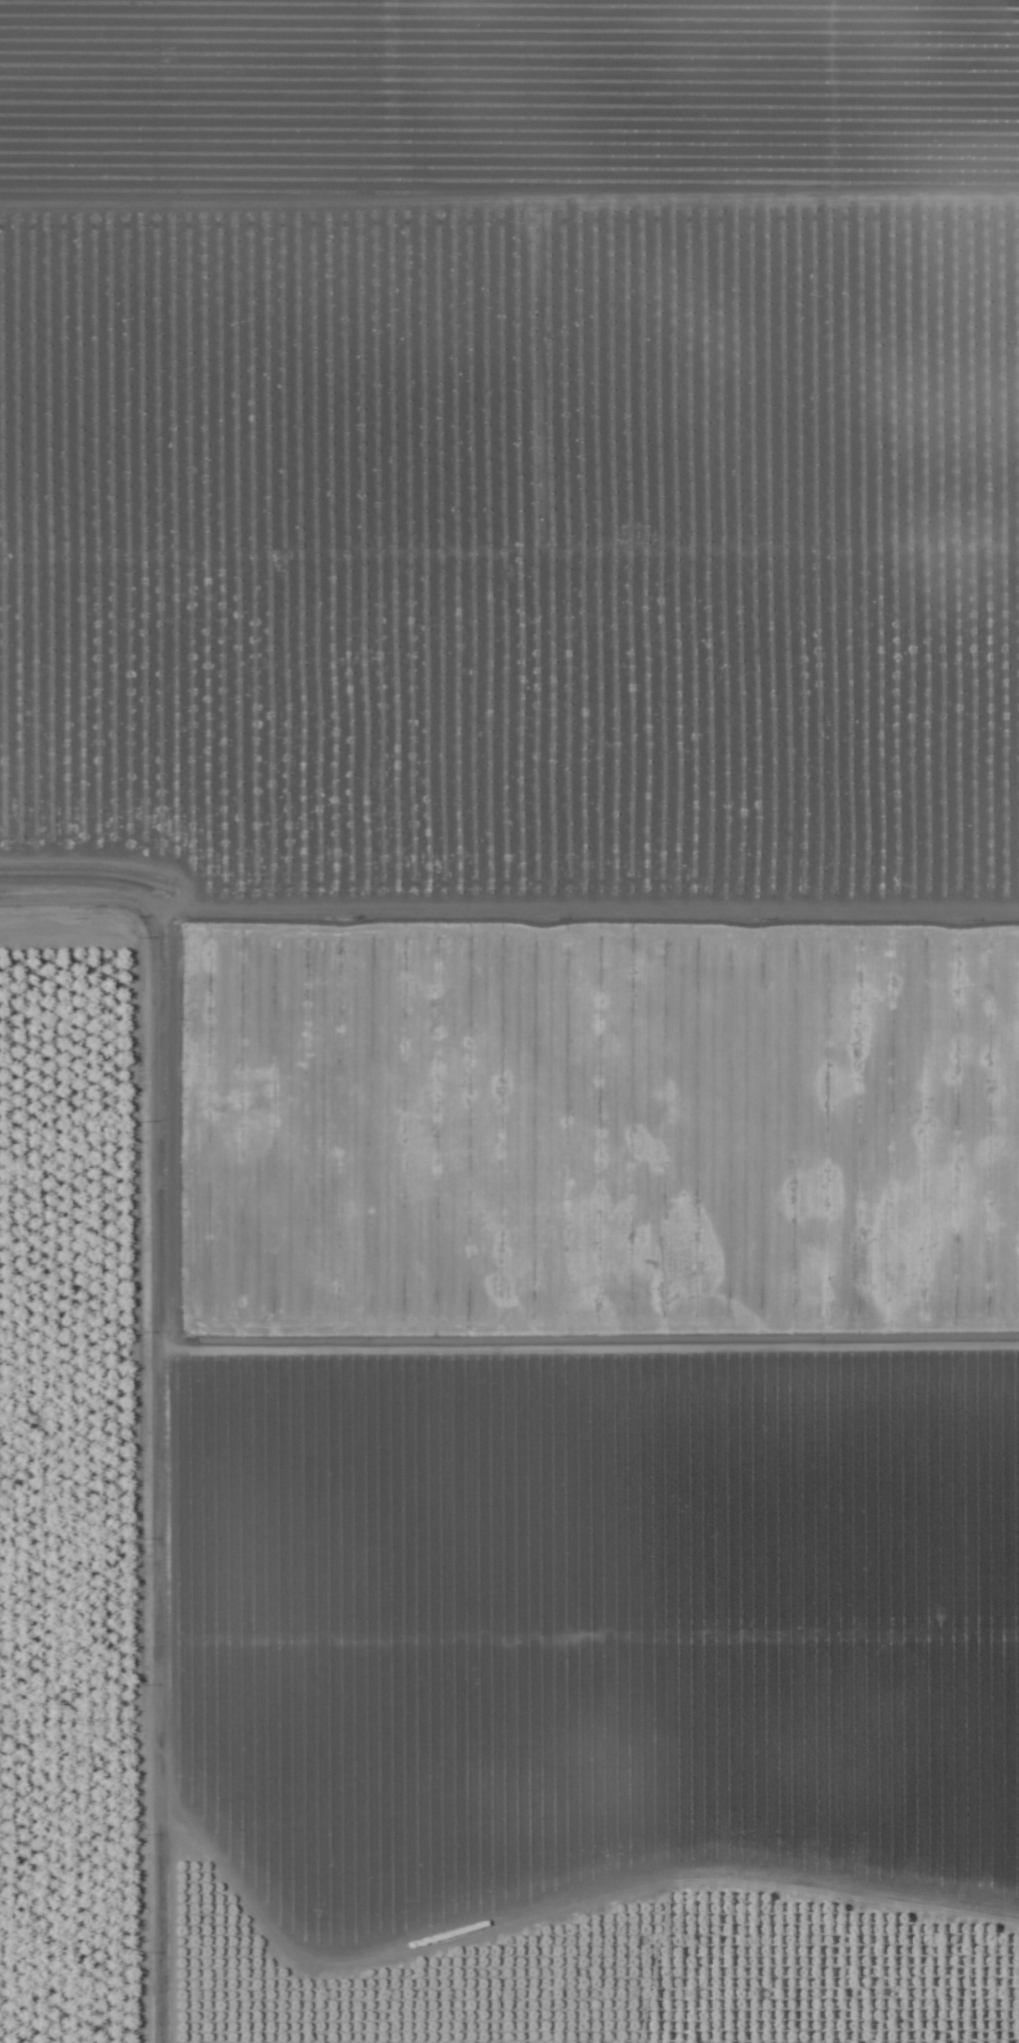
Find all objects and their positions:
road: (69, 891)
road: (578, 903)
crop: (509, 1021)
road: (158, 1469)

